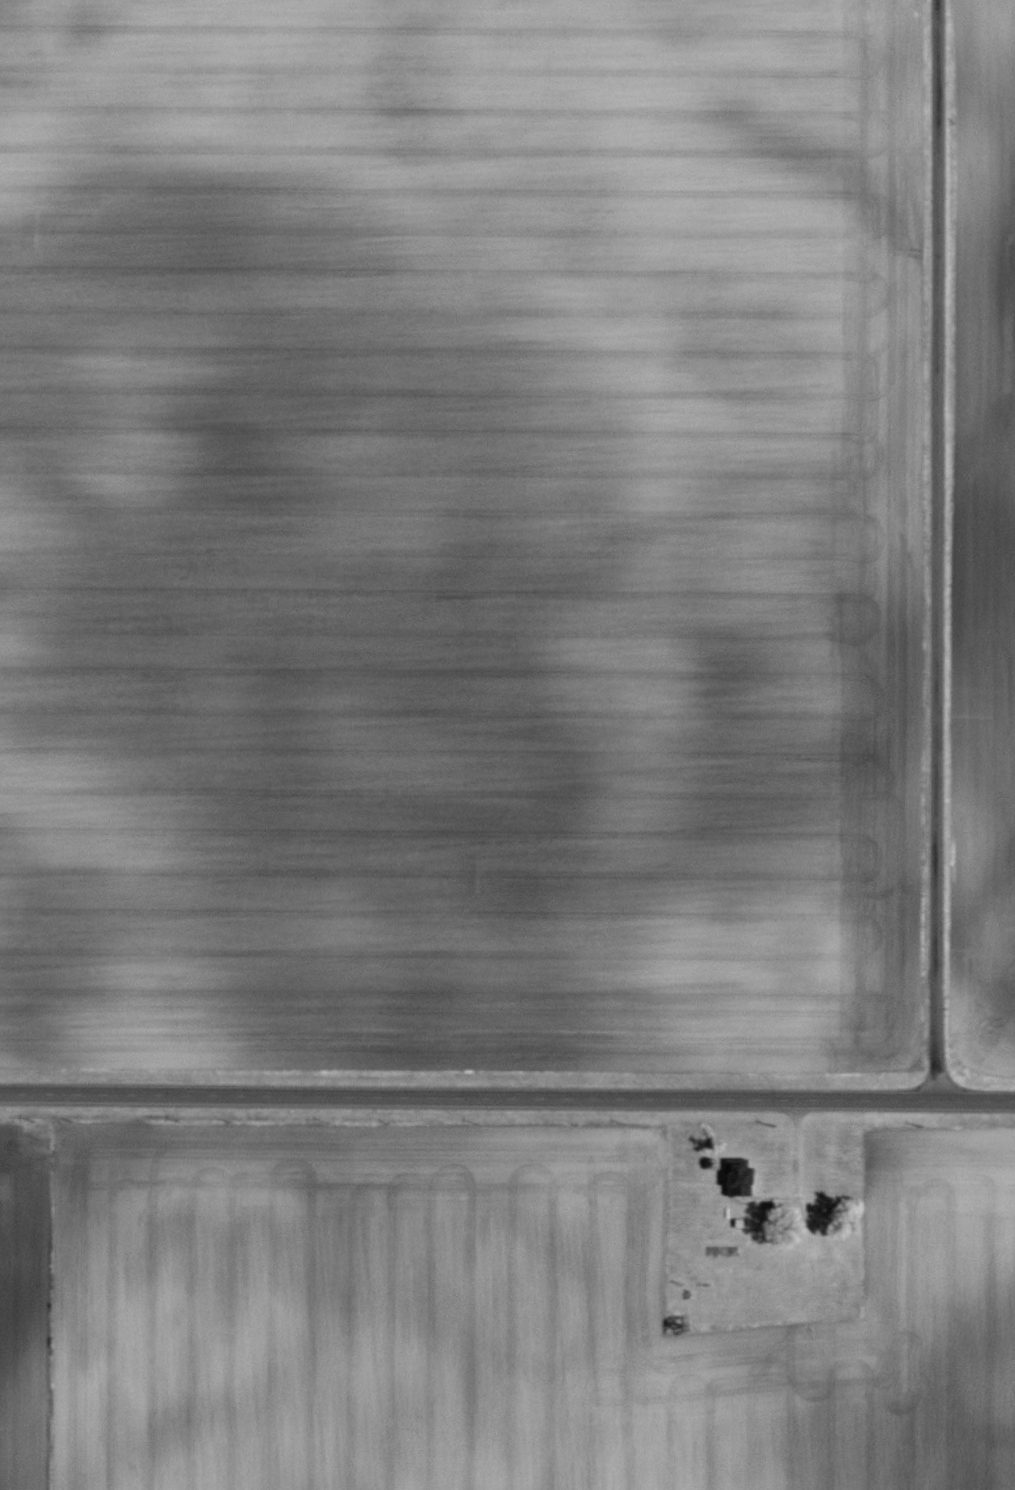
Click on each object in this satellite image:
road: (931, 552)
road: (507, 1100)

